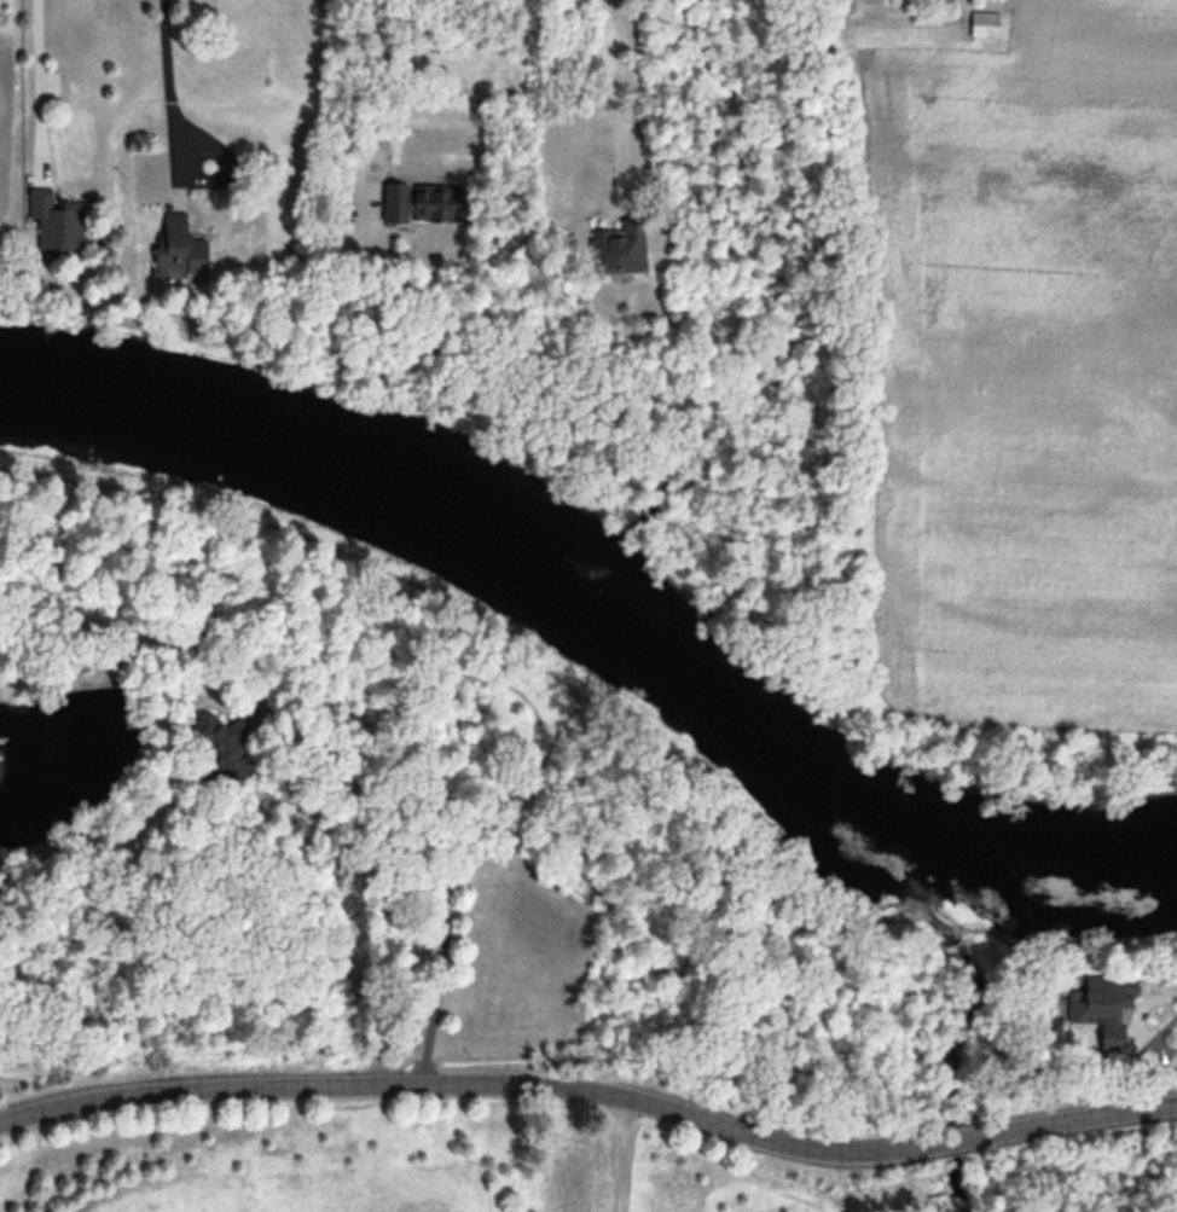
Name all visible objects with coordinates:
building: (984, 23)
road: (167, 53)
road: (36, 63)
road: (359, 108)
road: (640, 111)
building: (422, 203)
building: (56, 219)
building: (178, 245)
building: (619, 247)
river: (603, 610)
building: (205, 726)
building: (1094, 998)
road: (592, 1100)
building: (576, 1185)

